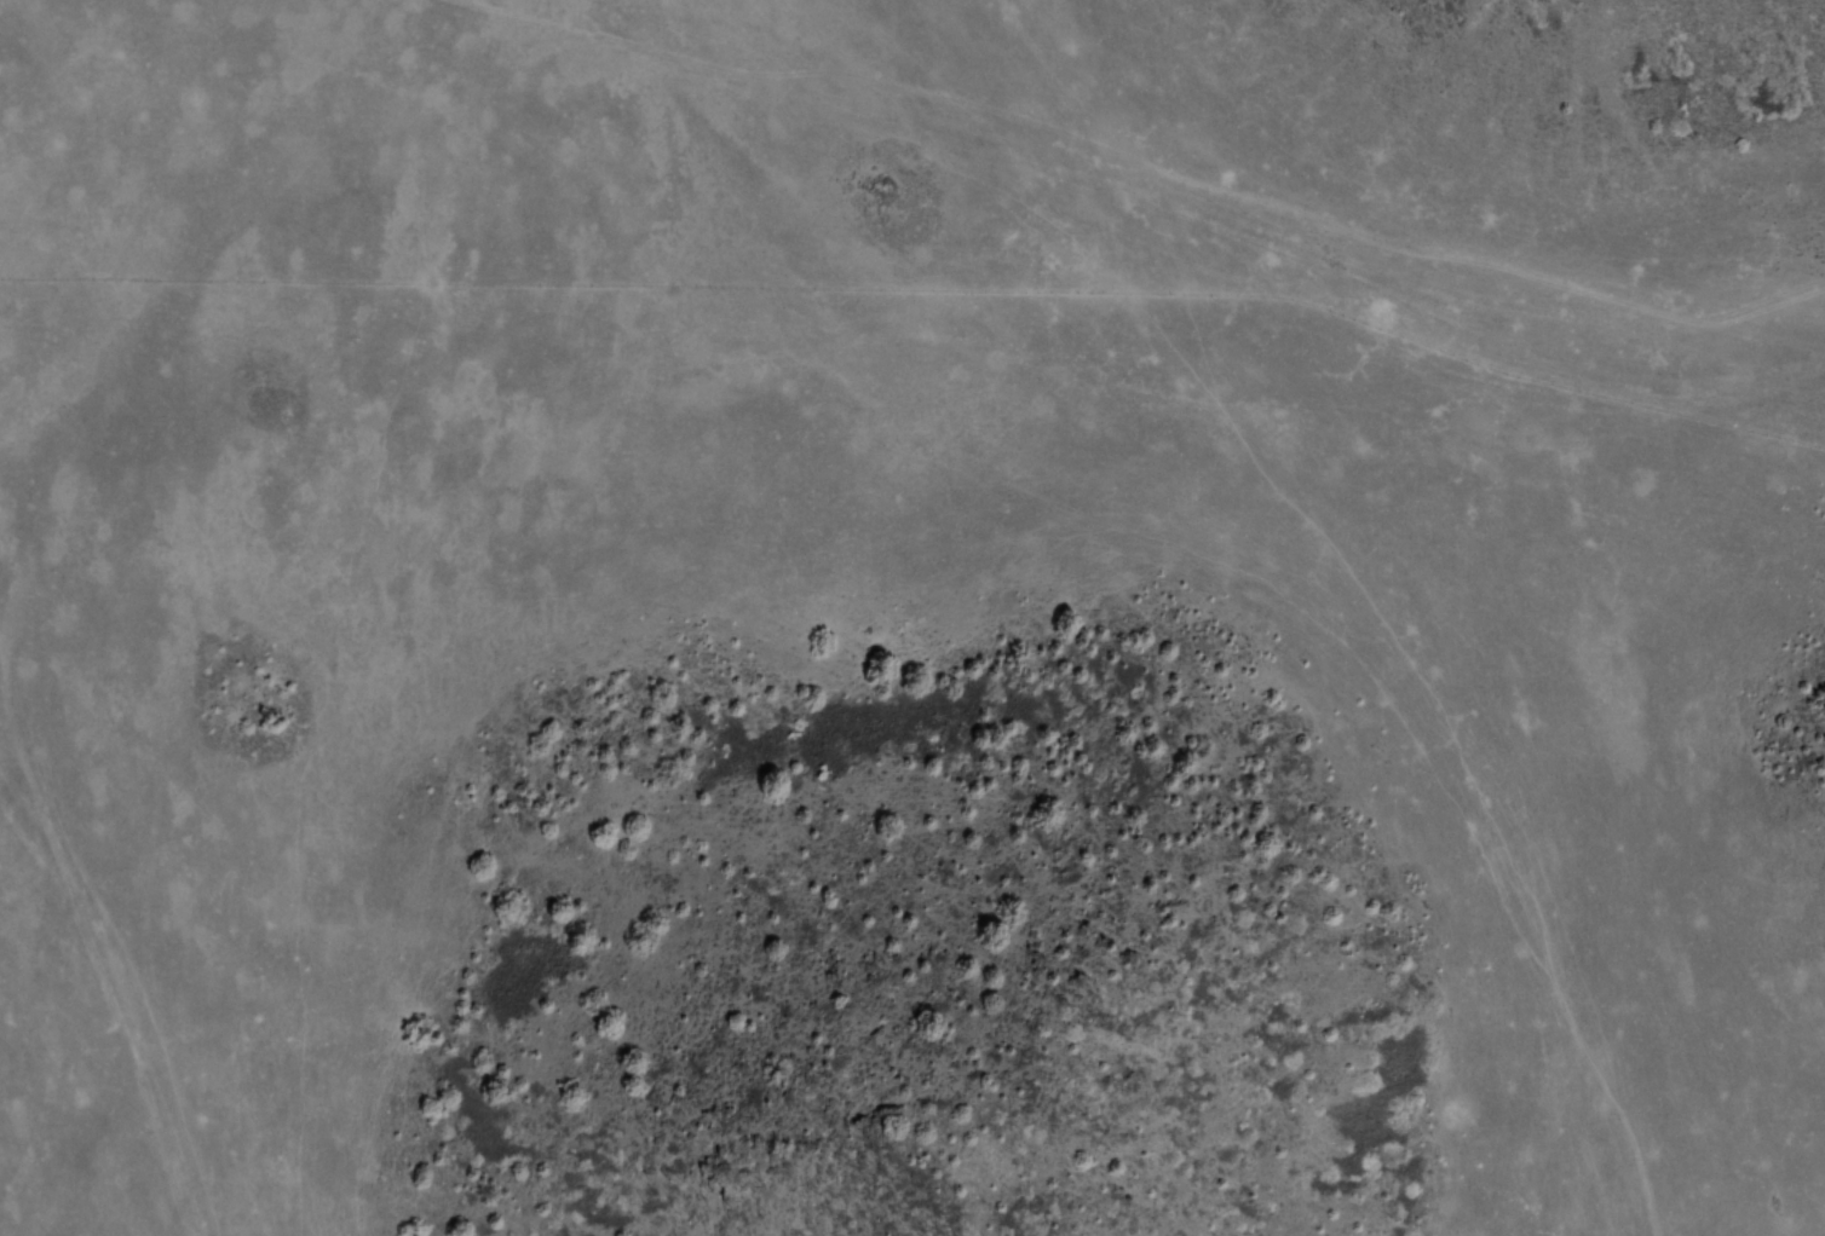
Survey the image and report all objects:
road: (1653, 310)

